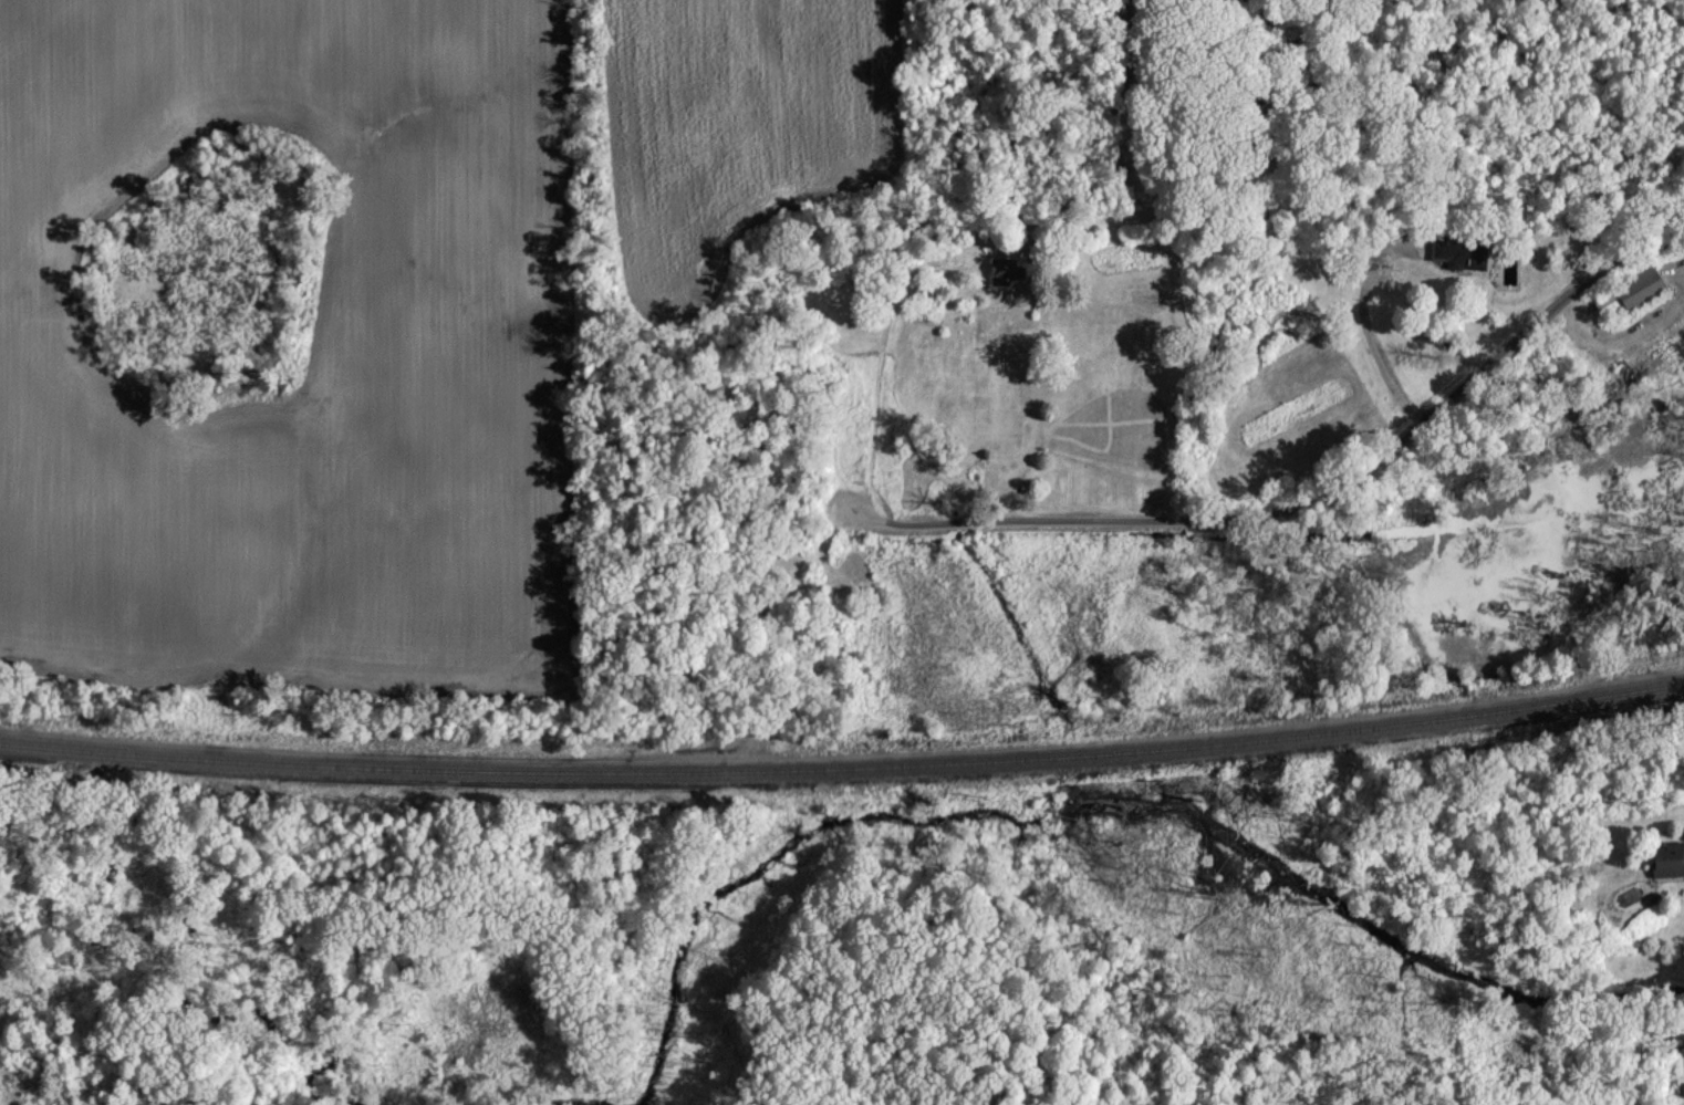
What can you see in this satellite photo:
building: (1457, 252)
road: (1383, 262)
building: (1006, 270)
road: (1365, 284)
building: (1630, 292)
road: (1304, 502)
railway: (843, 765)
building: (1666, 859)
river: (179, 925)
river: (1118, 969)

